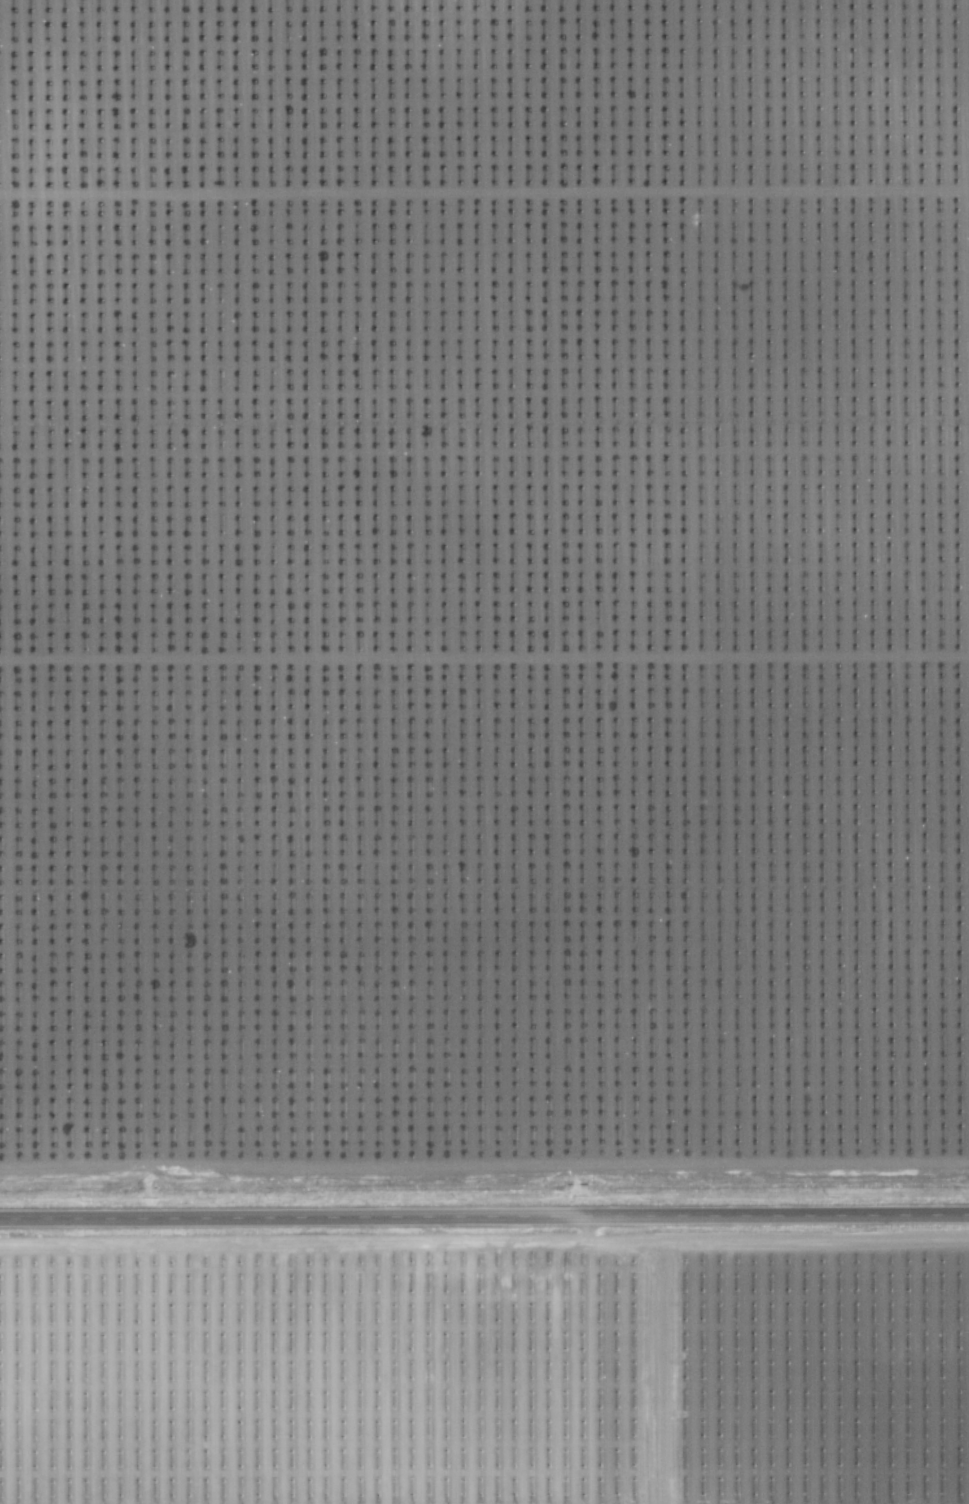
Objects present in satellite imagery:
road: (484, 1218)

